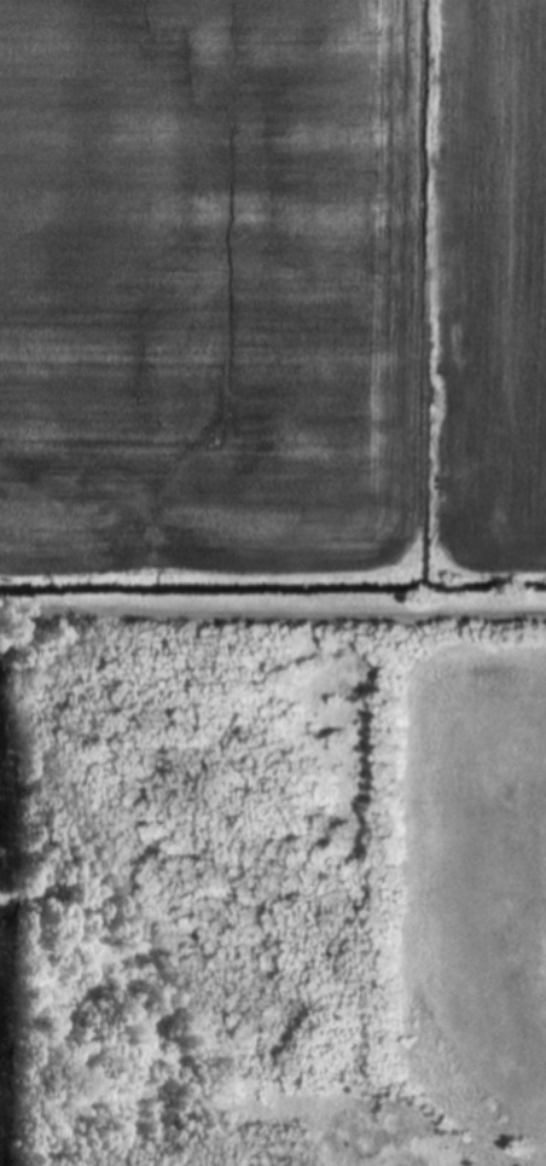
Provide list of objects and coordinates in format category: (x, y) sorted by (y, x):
road: (273, 623)

